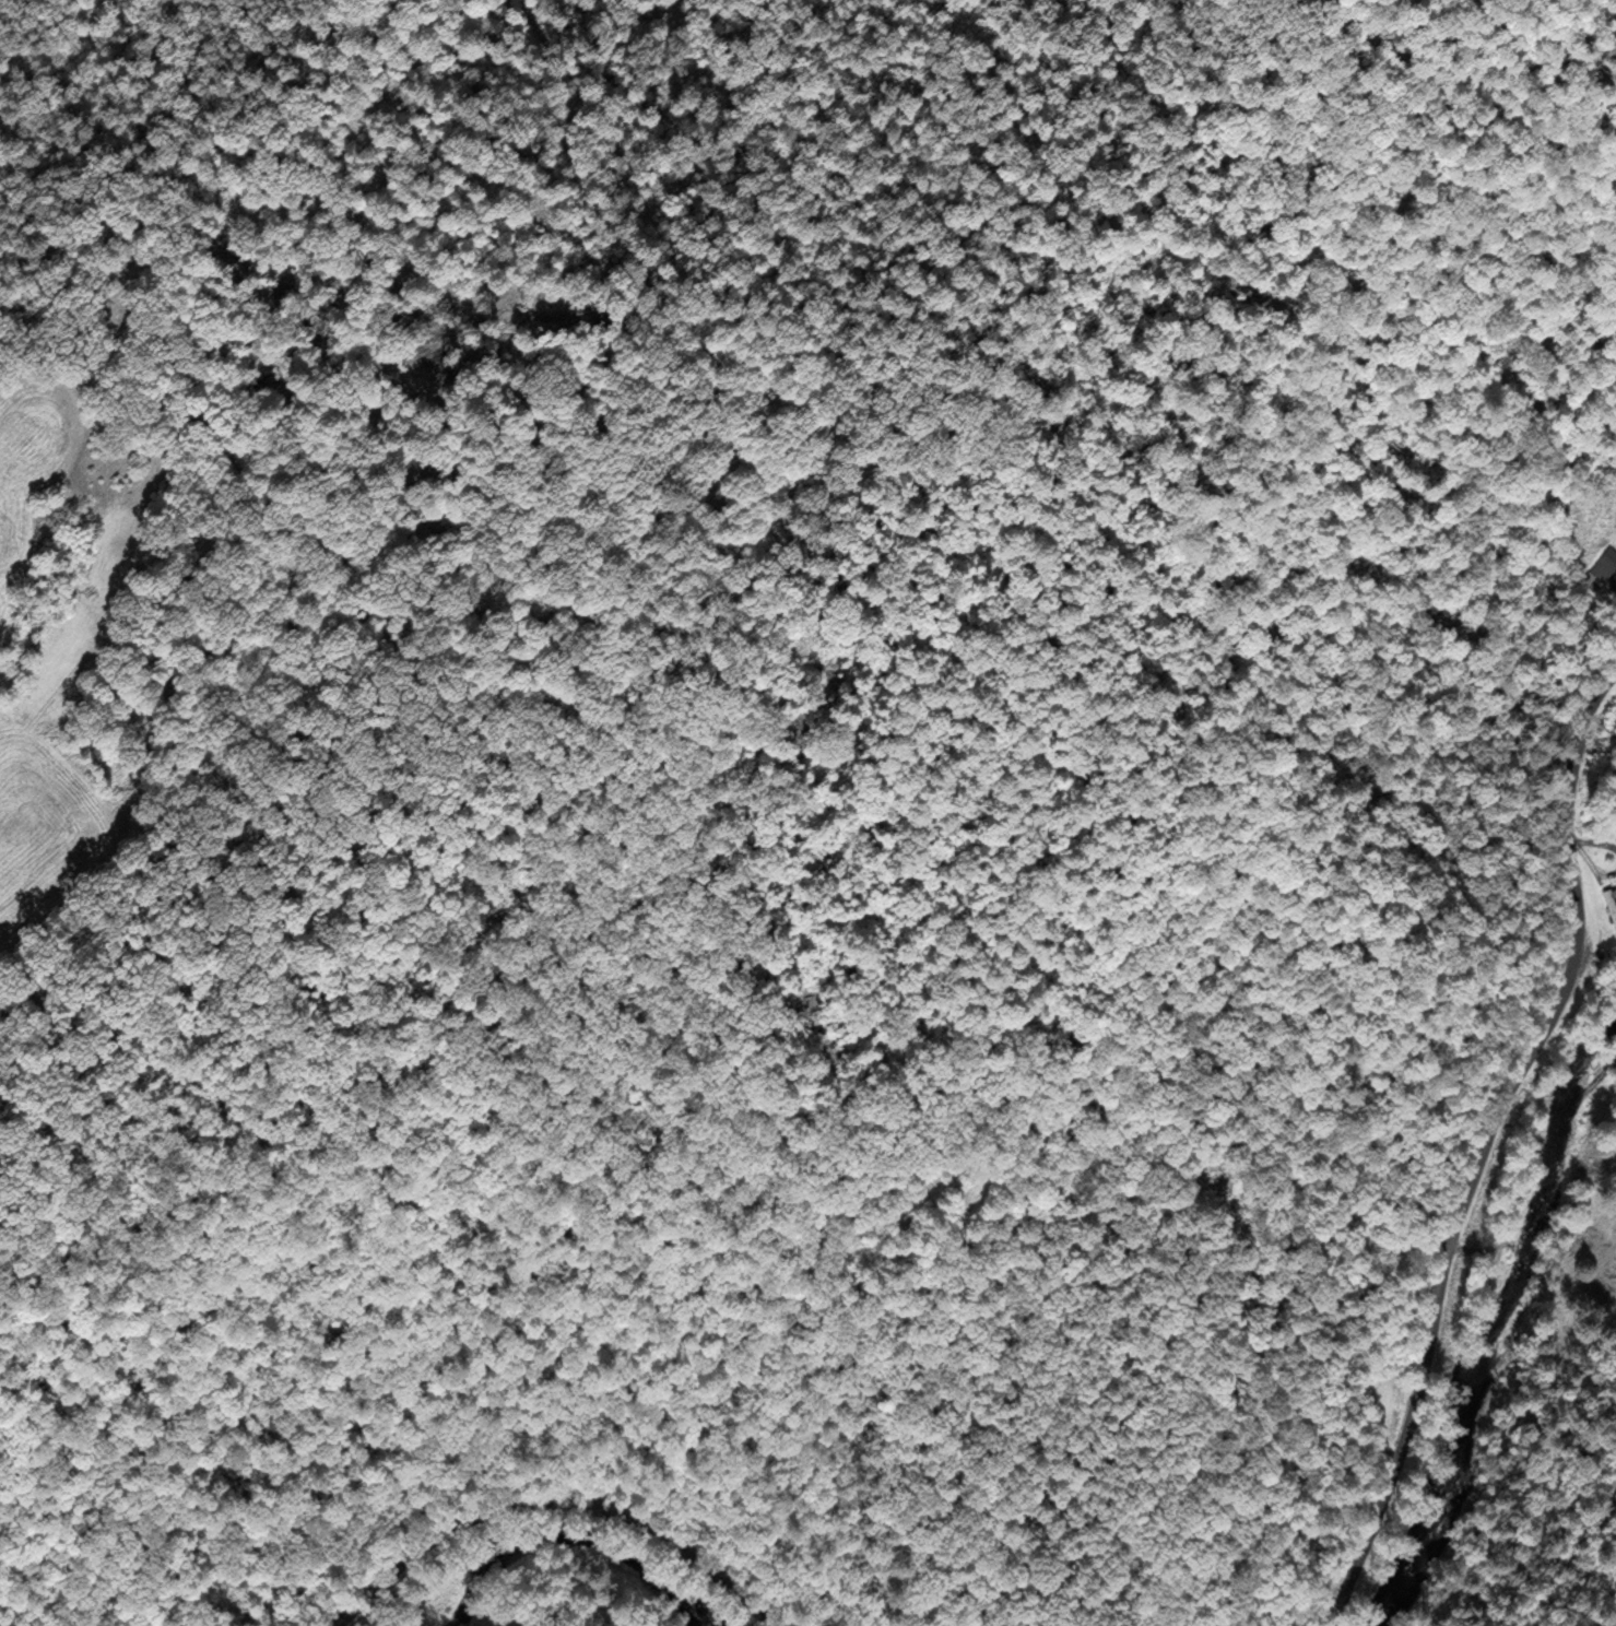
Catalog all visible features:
building: (1605, 564)
building: (1611, 905)
road: (1488, 1146)
road: (549, 1505)

